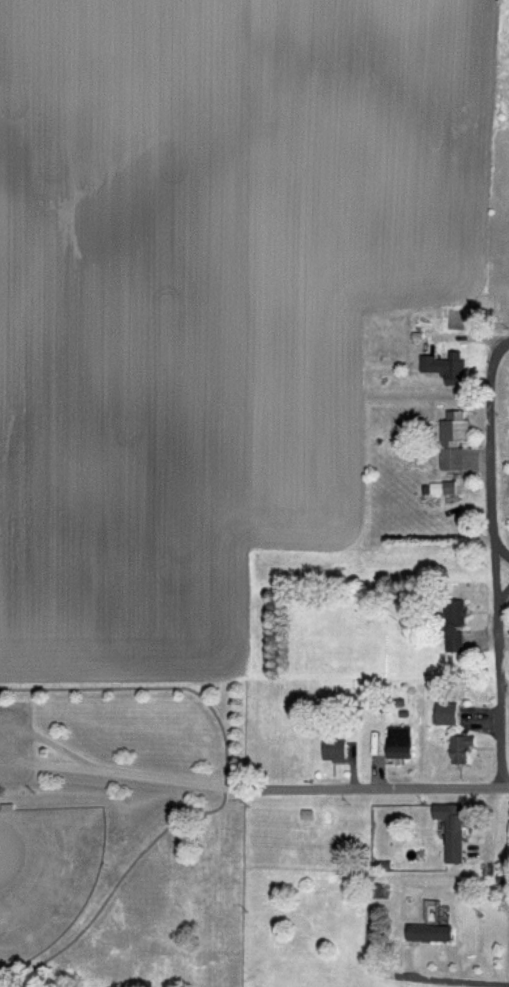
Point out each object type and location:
road: (506, 345)
building: (443, 369)
building: (451, 441)
park: (506, 458)
road: (494, 480)
building: (447, 488)
road: (502, 542)
road: (505, 605)
building: (452, 625)
road: (502, 702)
building: (444, 713)
building: (396, 740)
parking lot: (15, 741)
building: (333, 748)
building: (459, 748)
road: (90, 765)
road: (174, 778)
road: (381, 788)
road: (224, 790)
building: (449, 830)
park: (122, 833)
park: (45, 873)
building: (427, 932)
road: (391, 972)
road: (454, 978)

